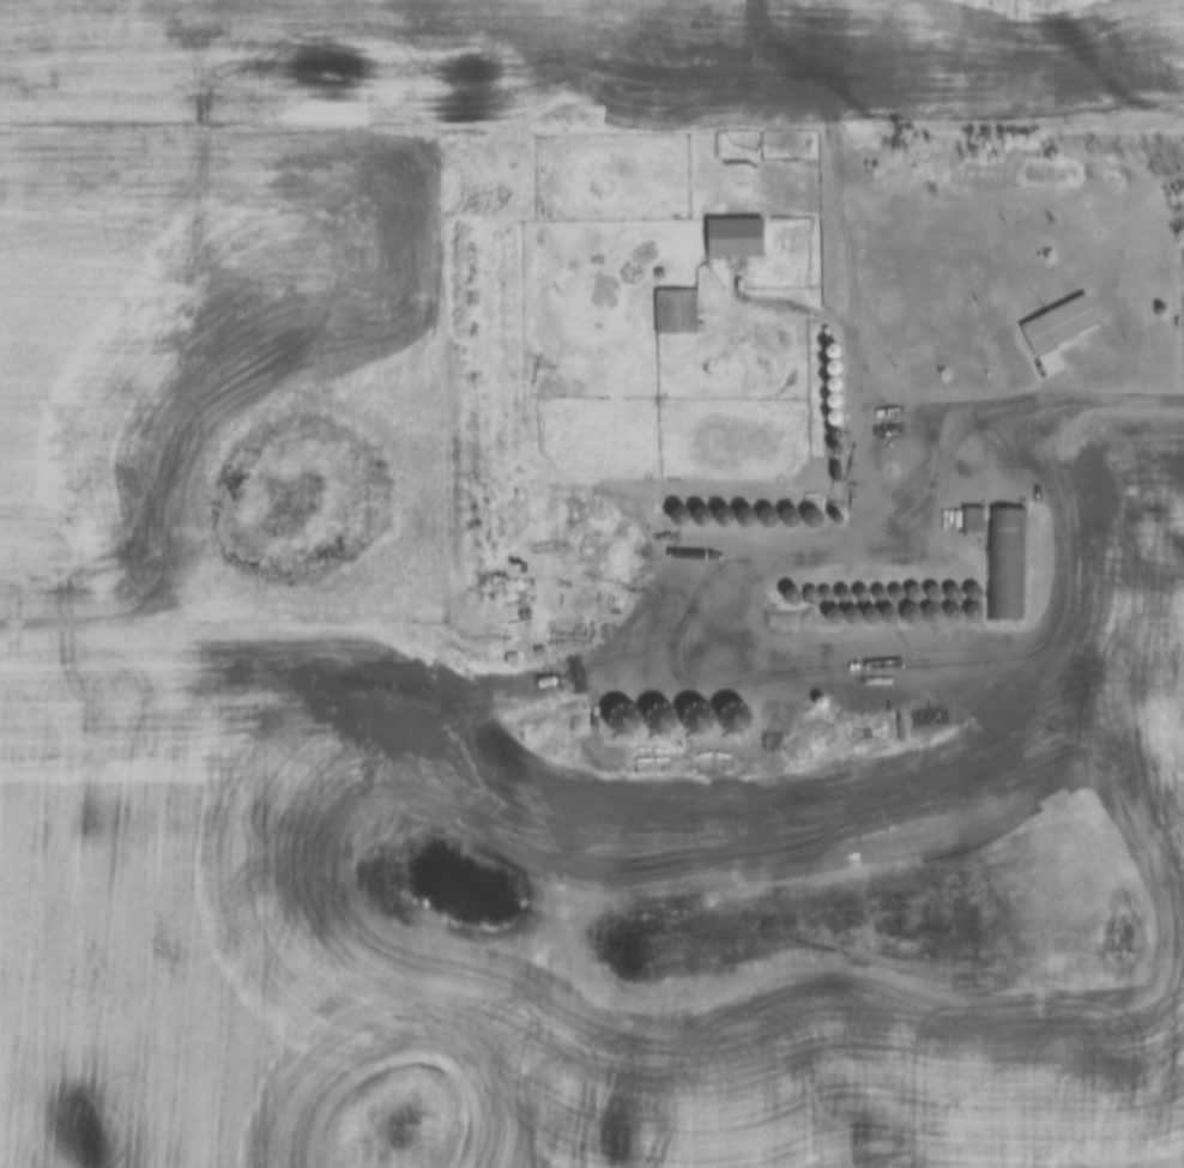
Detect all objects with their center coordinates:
building: (731, 236)
building: (673, 310)
building: (1057, 325)
road: (1046, 401)
building: (1004, 564)

